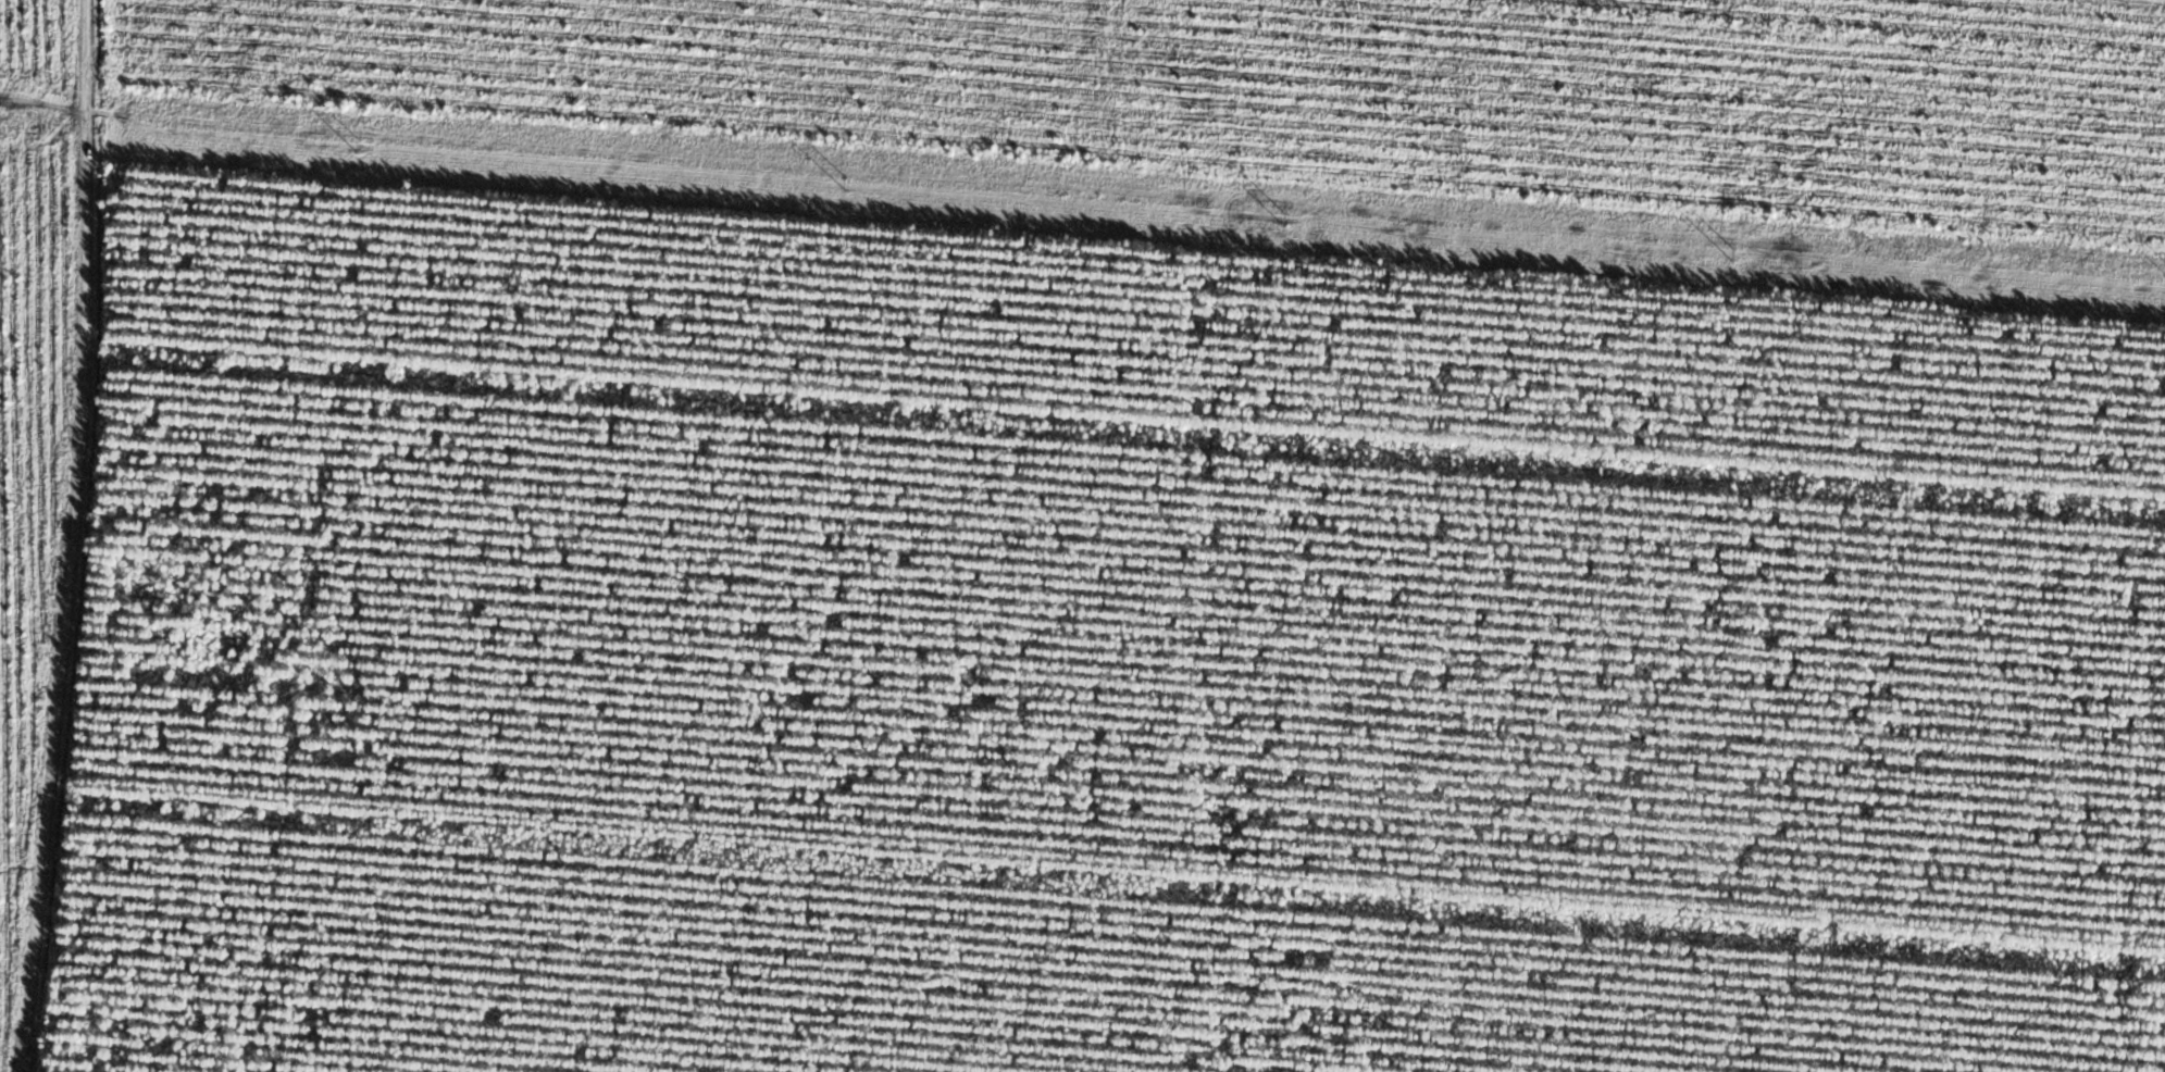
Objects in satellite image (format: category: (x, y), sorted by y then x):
power tower: (356, 142)
power tower: (846, 182)
power tower: (1285, 217)
power tower: (1730, 250)
road: (60, 536)

